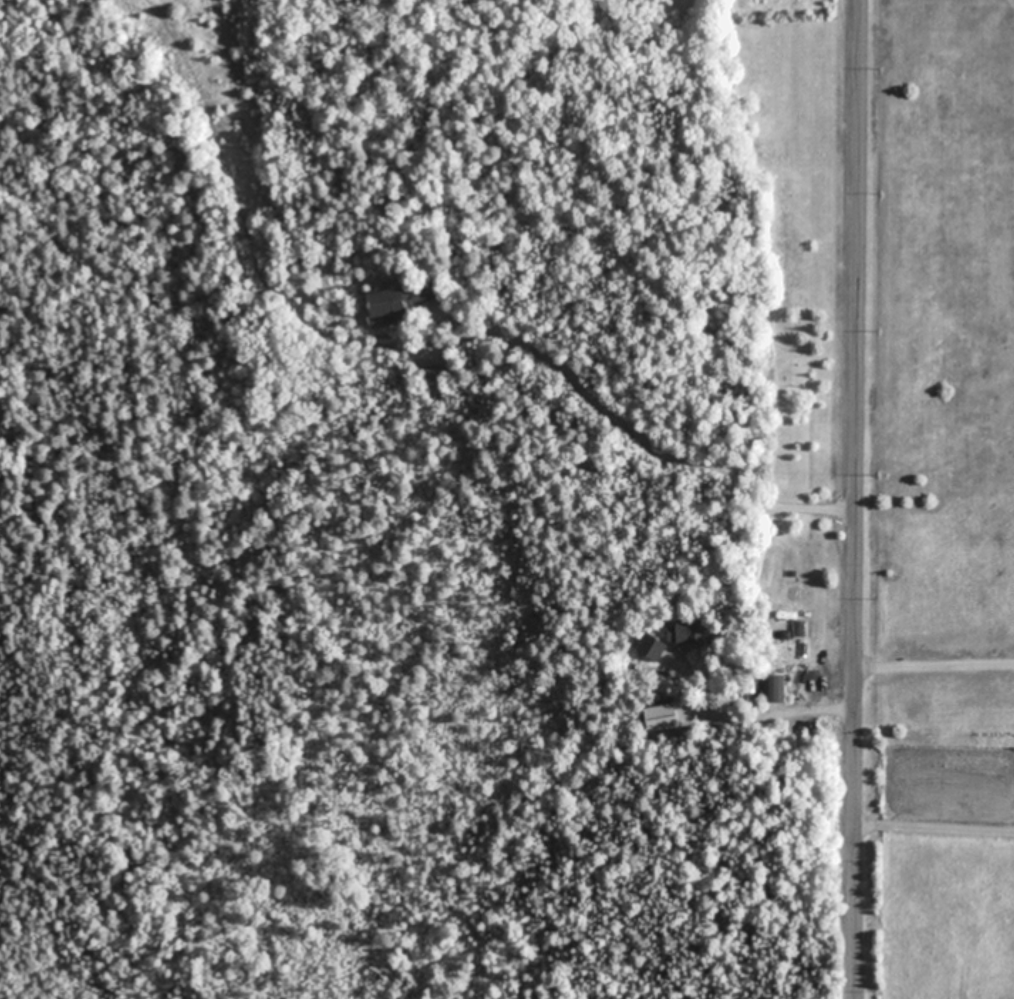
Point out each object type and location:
building: (385, 303)
building: (433, 369)
road: (644, 438)
road: (856, 499)
building: (682, 630)
road: (935, 666)
building: (774, 686)
road: (808, 709)
road: (935, 822)

